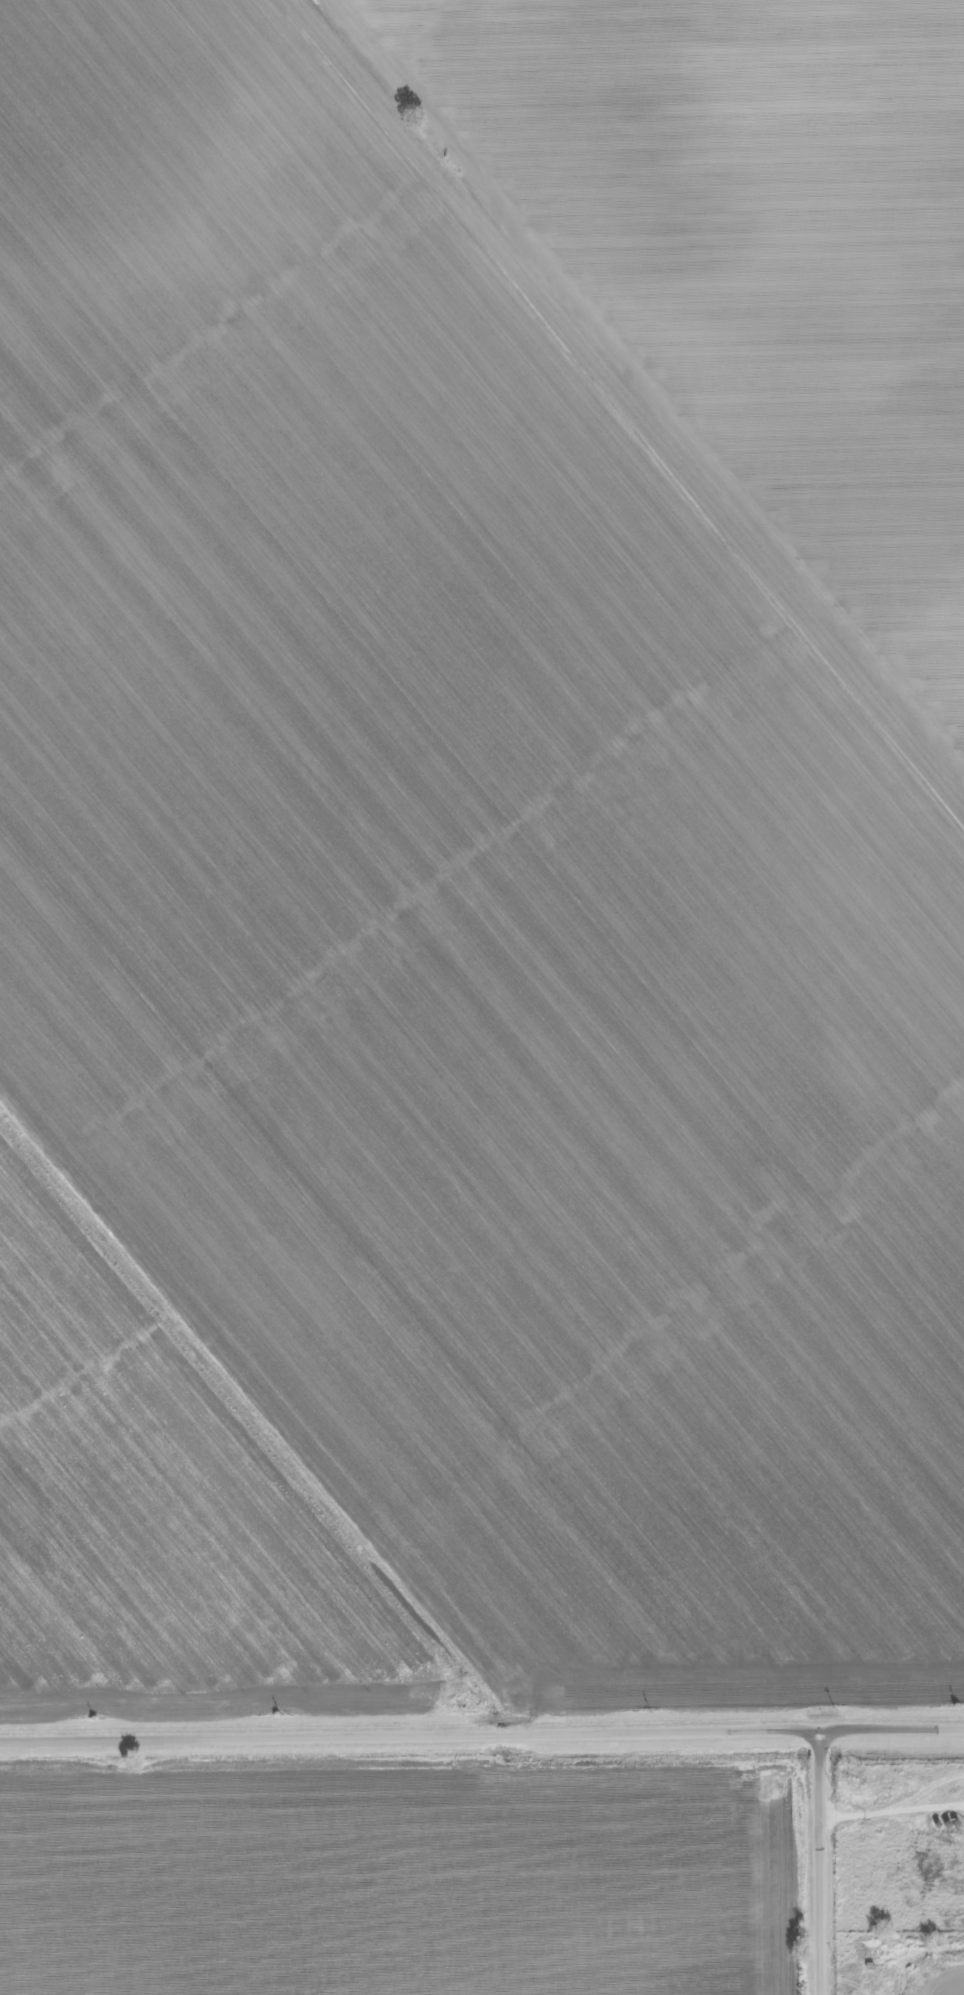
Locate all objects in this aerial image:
road: (481, 1730)
road: (824, 1860)

